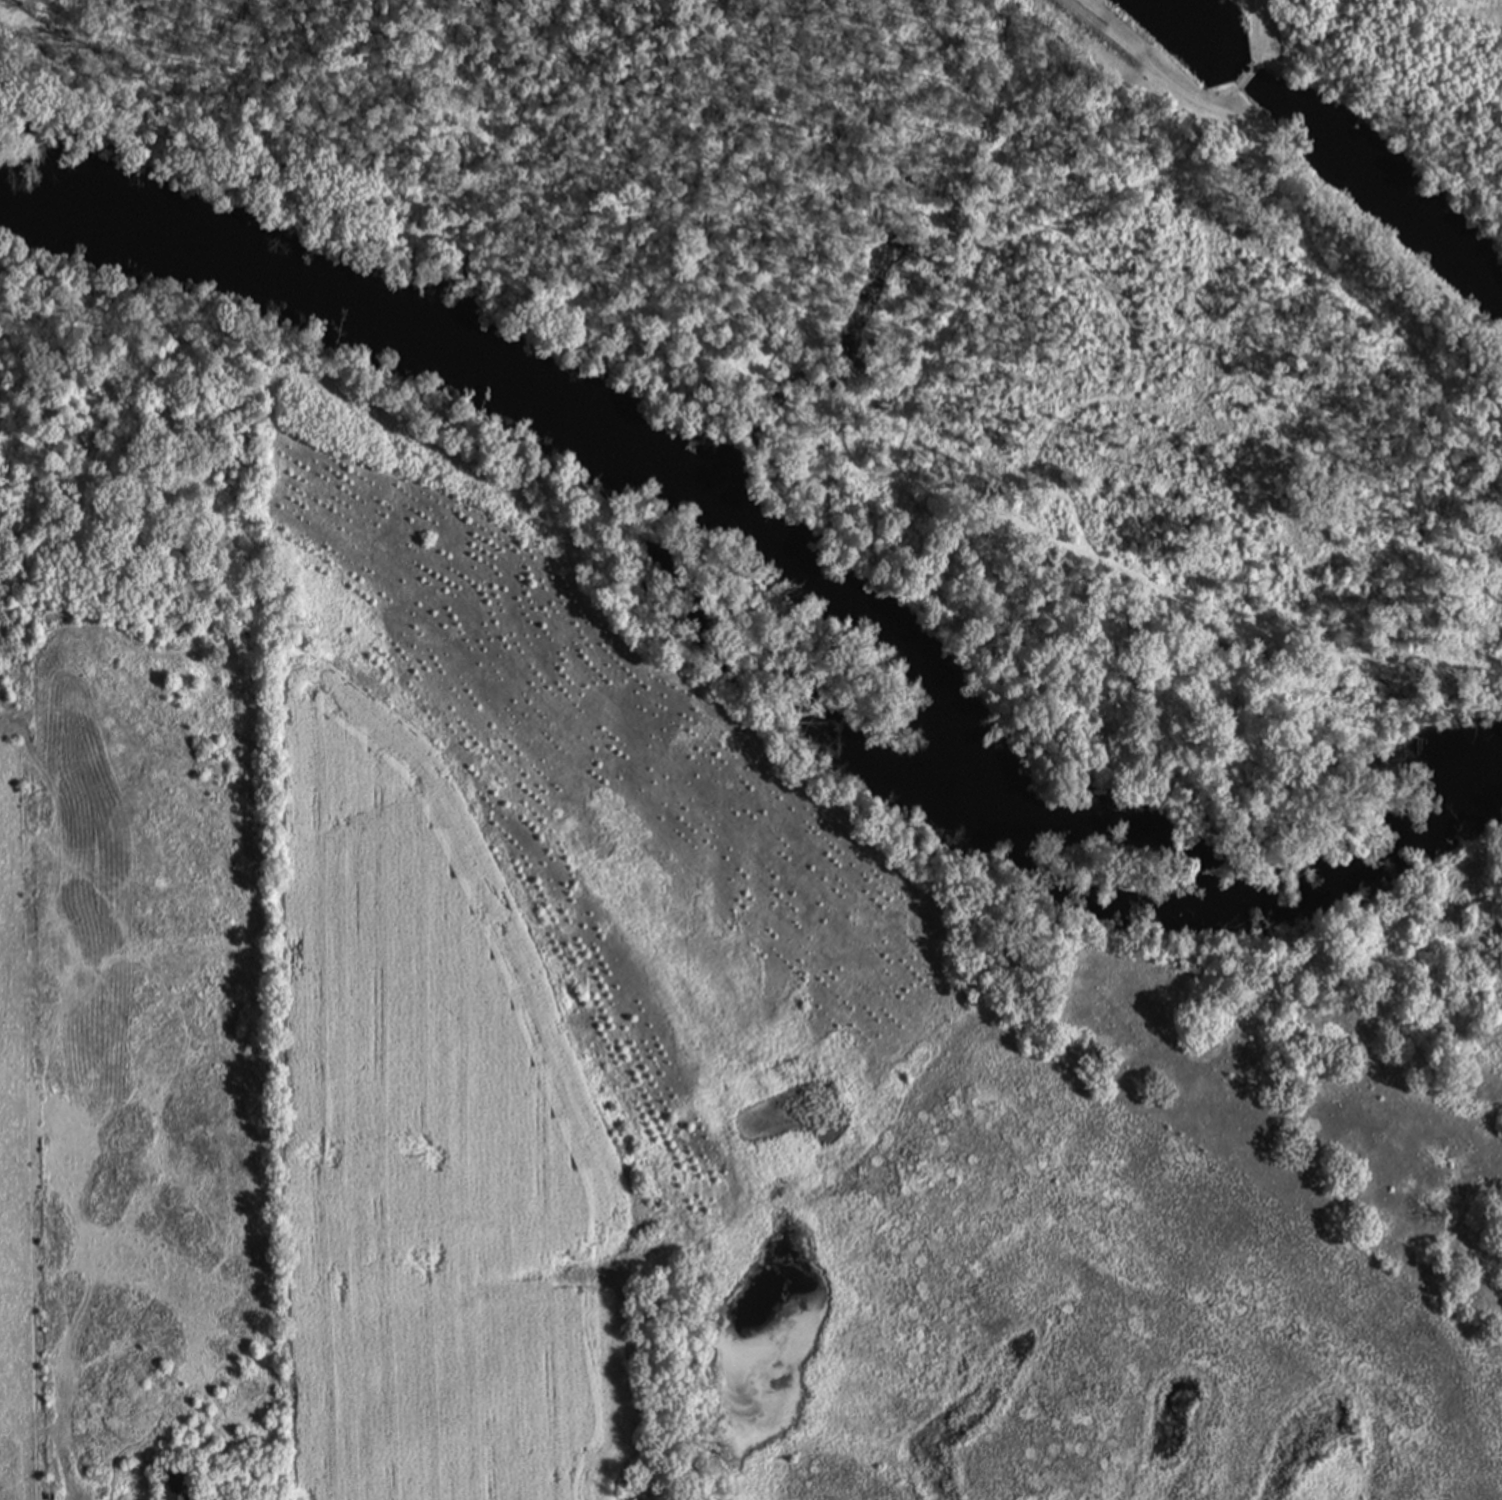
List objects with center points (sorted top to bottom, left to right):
park: (1279, 41)
dam: (1246, 85)
road: (1292, 161)
river: (1371, 189)
river: (787, 571)
building: (172, 1482)

